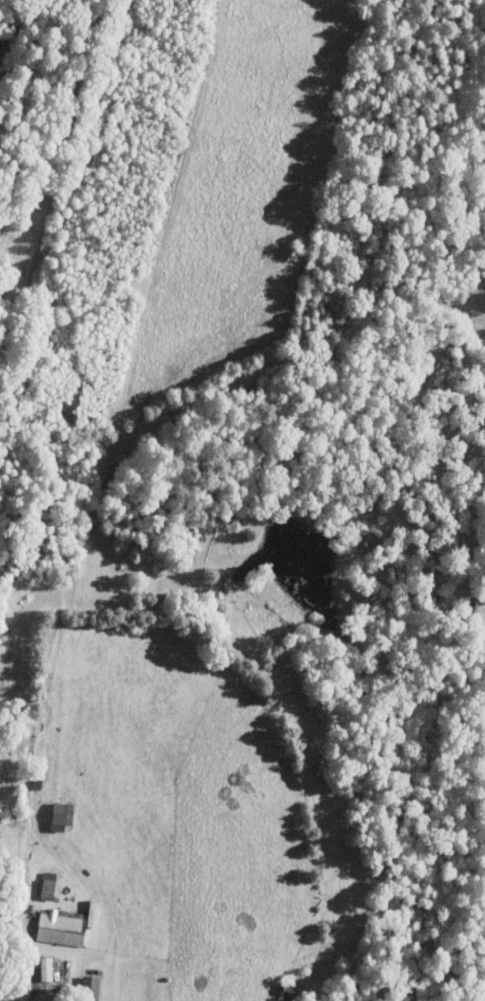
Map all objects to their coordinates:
building: (63, 815)
building: (47, 883)
building: (62, 928)
building: (48, 968)
building: (94, 987)

